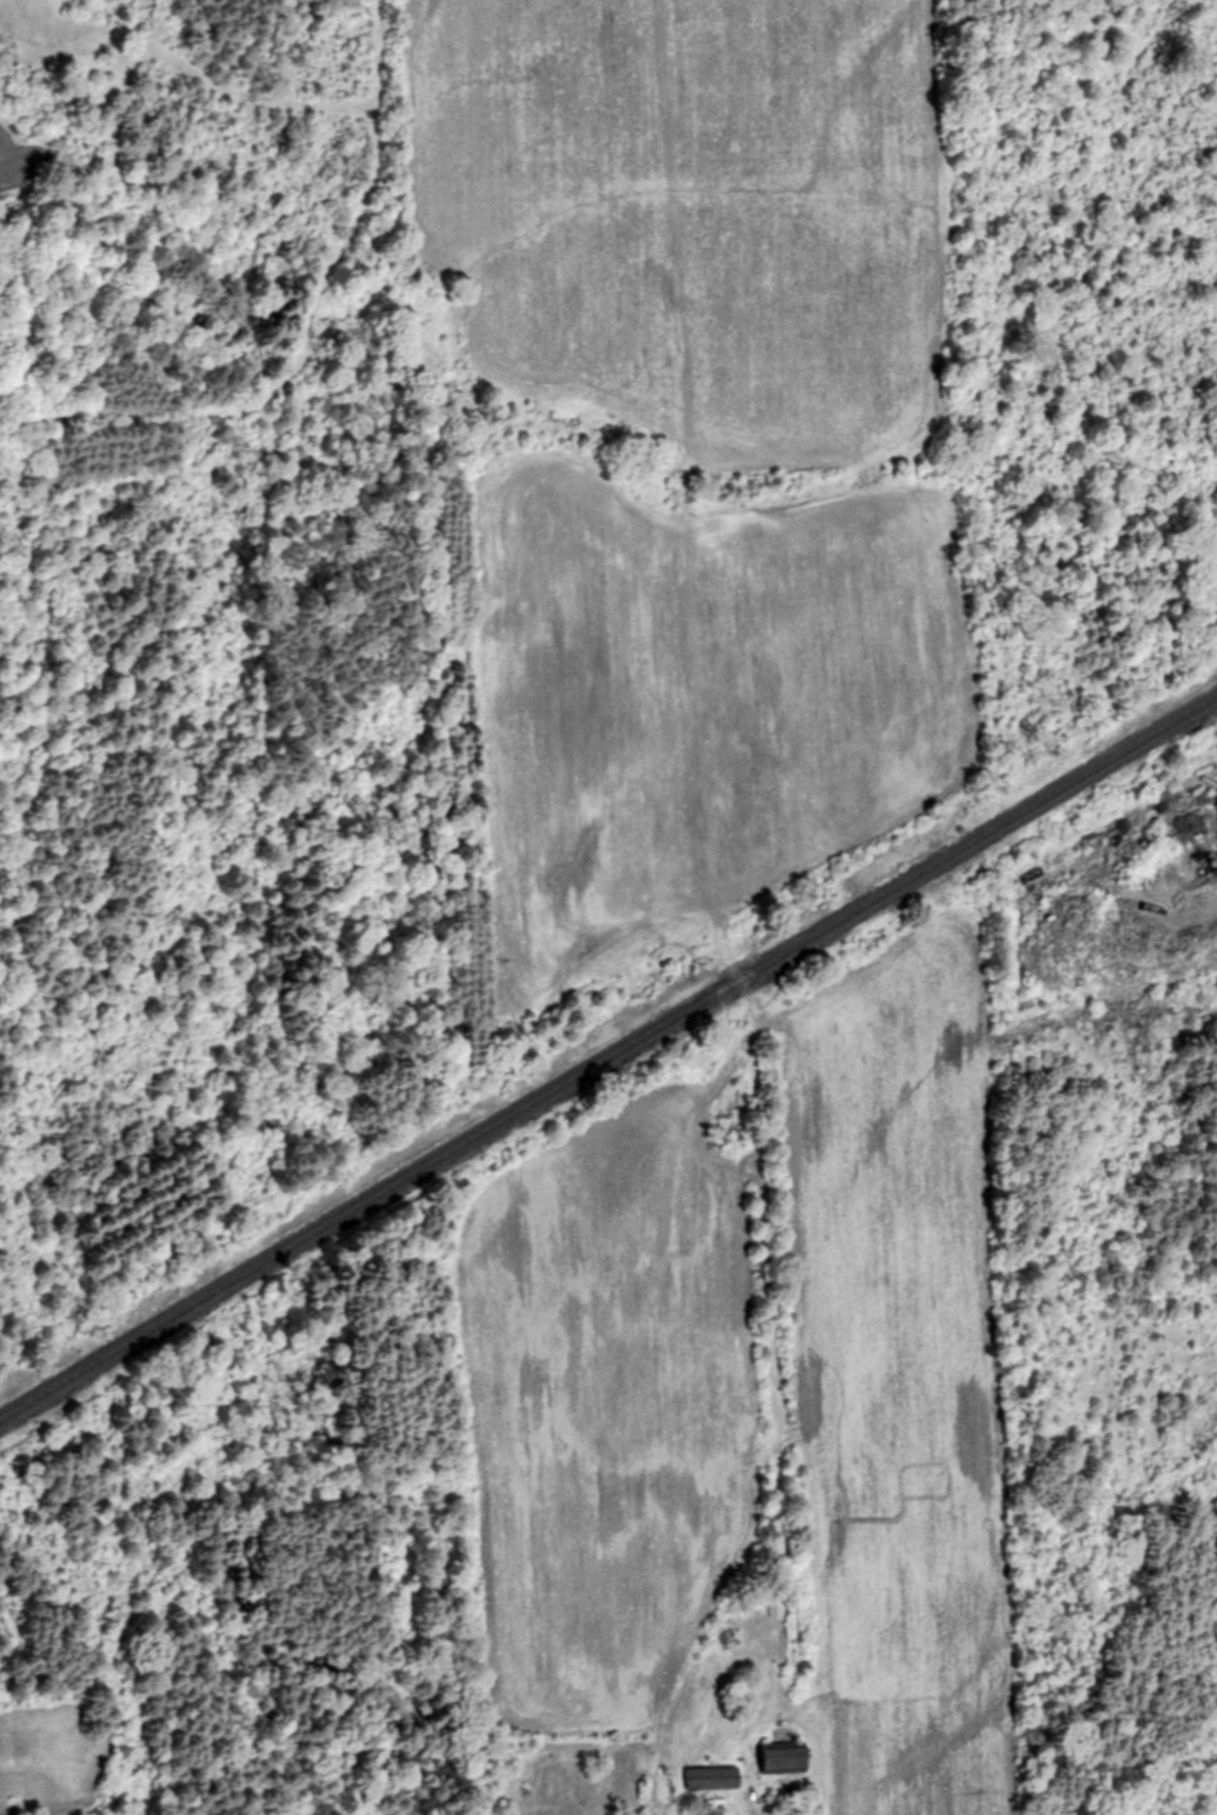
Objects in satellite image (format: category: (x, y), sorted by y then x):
railway: (608, 1062)
building: (788, 1757)
building: (712, 1779)

